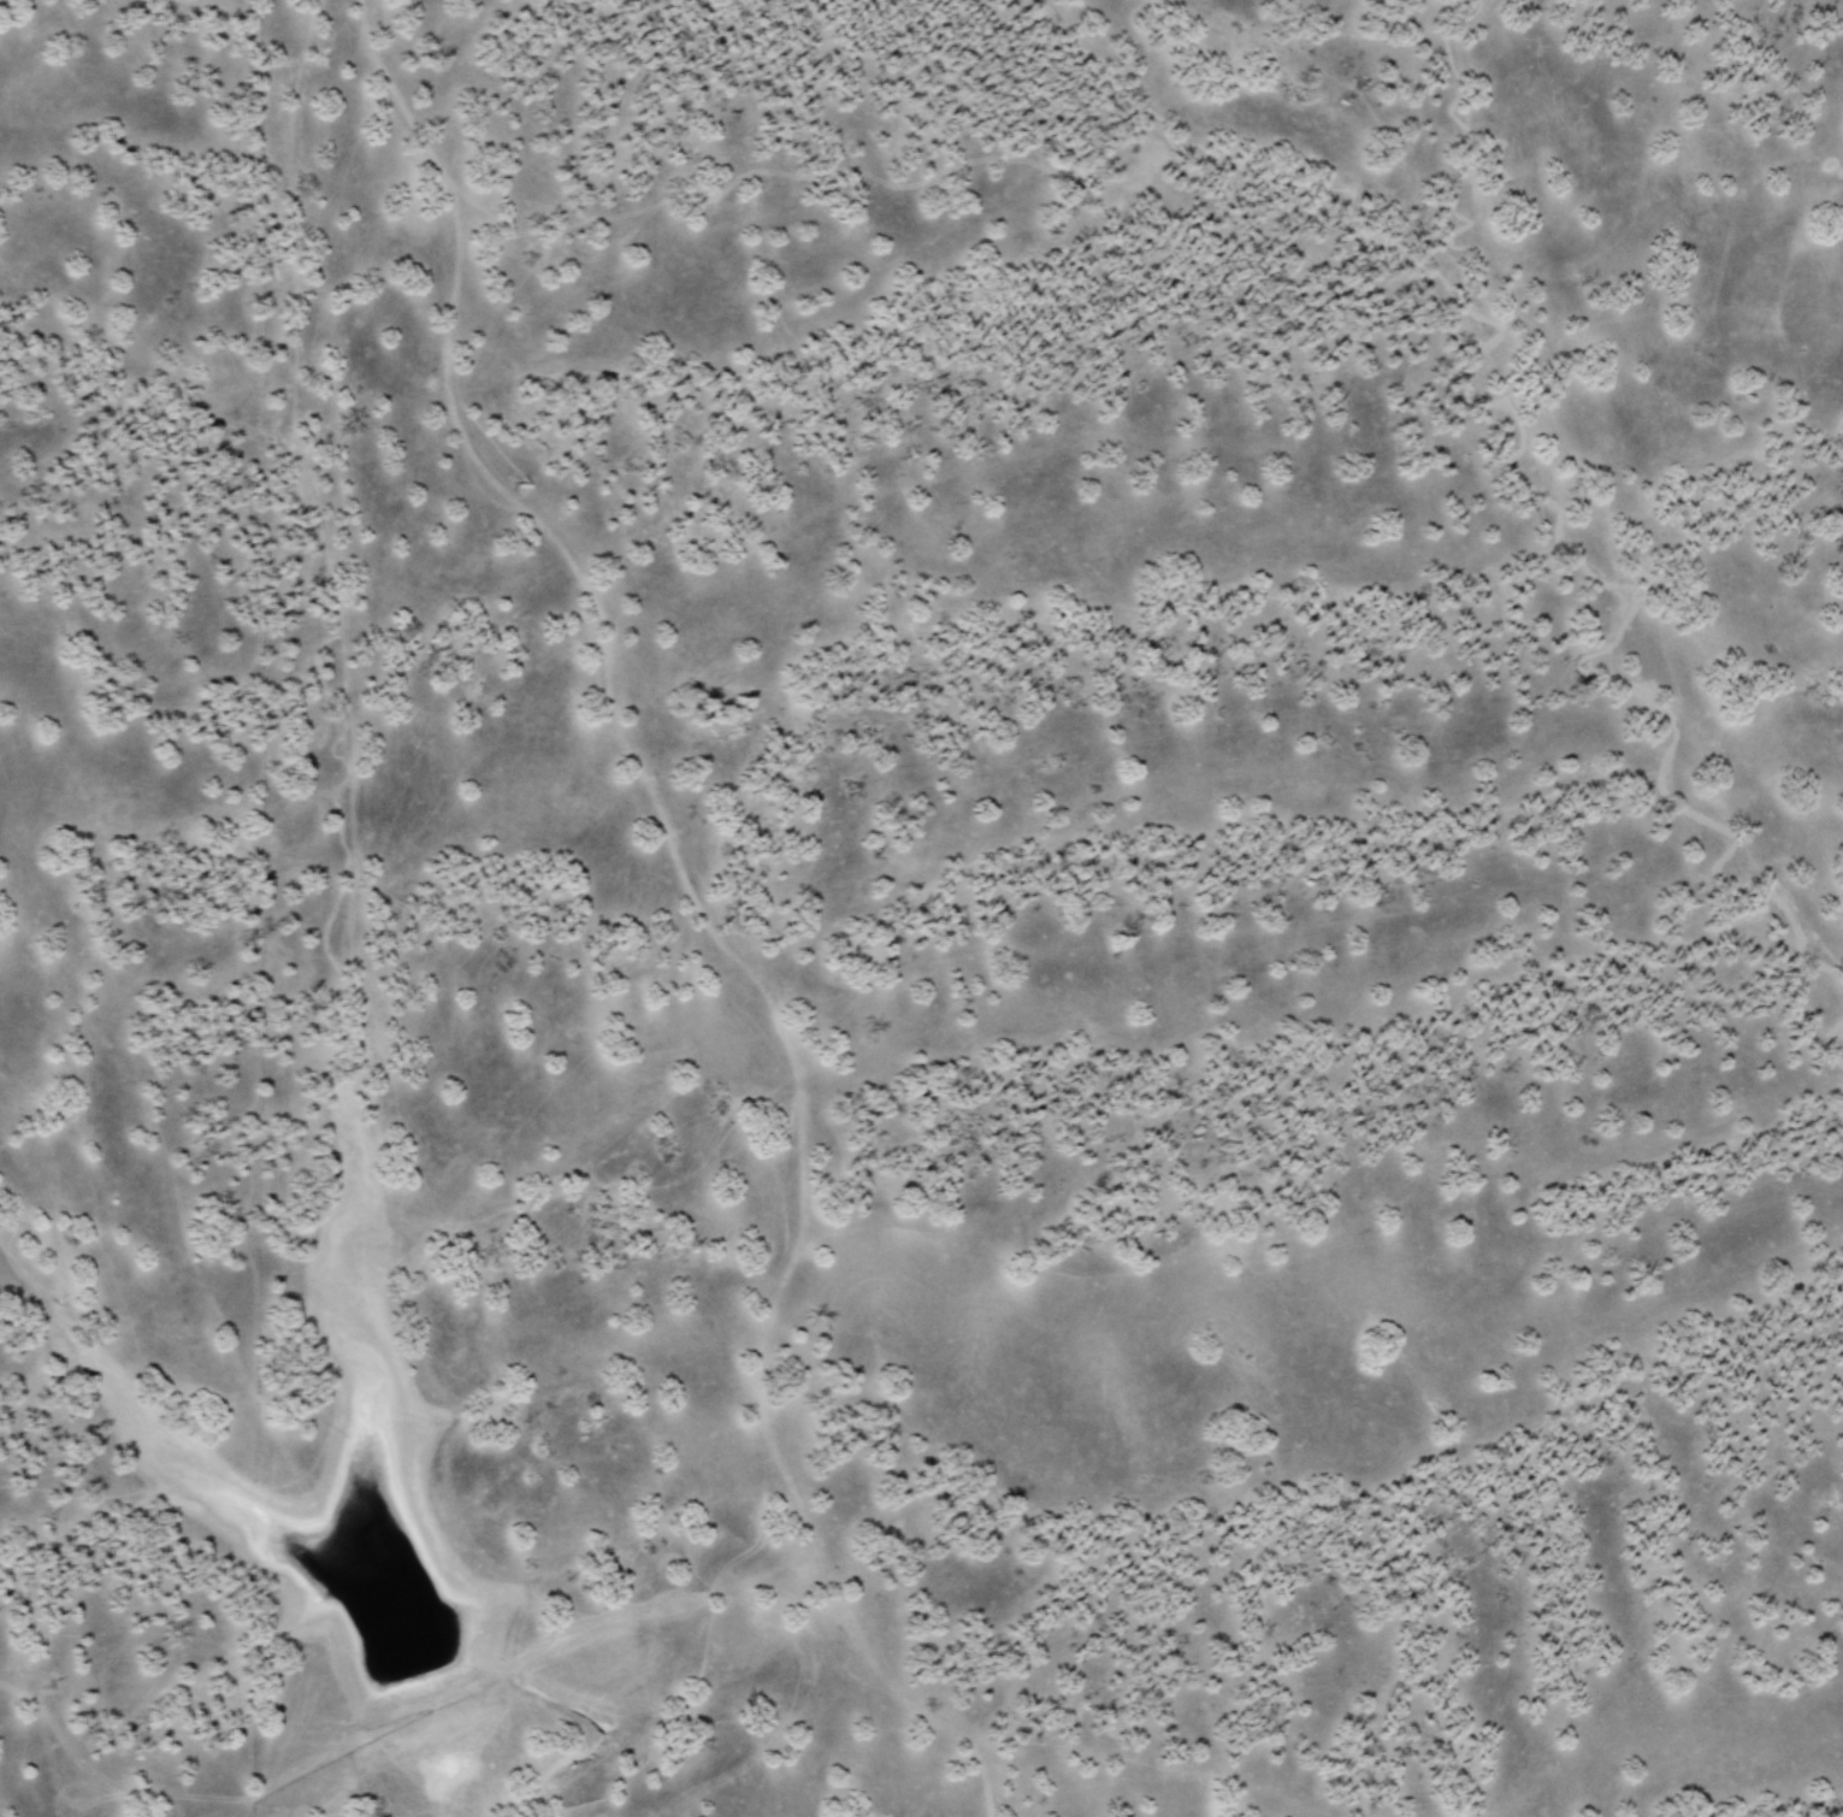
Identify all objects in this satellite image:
road: (574, 568)
dam: (421, 1693)
road: (166, 1797)

